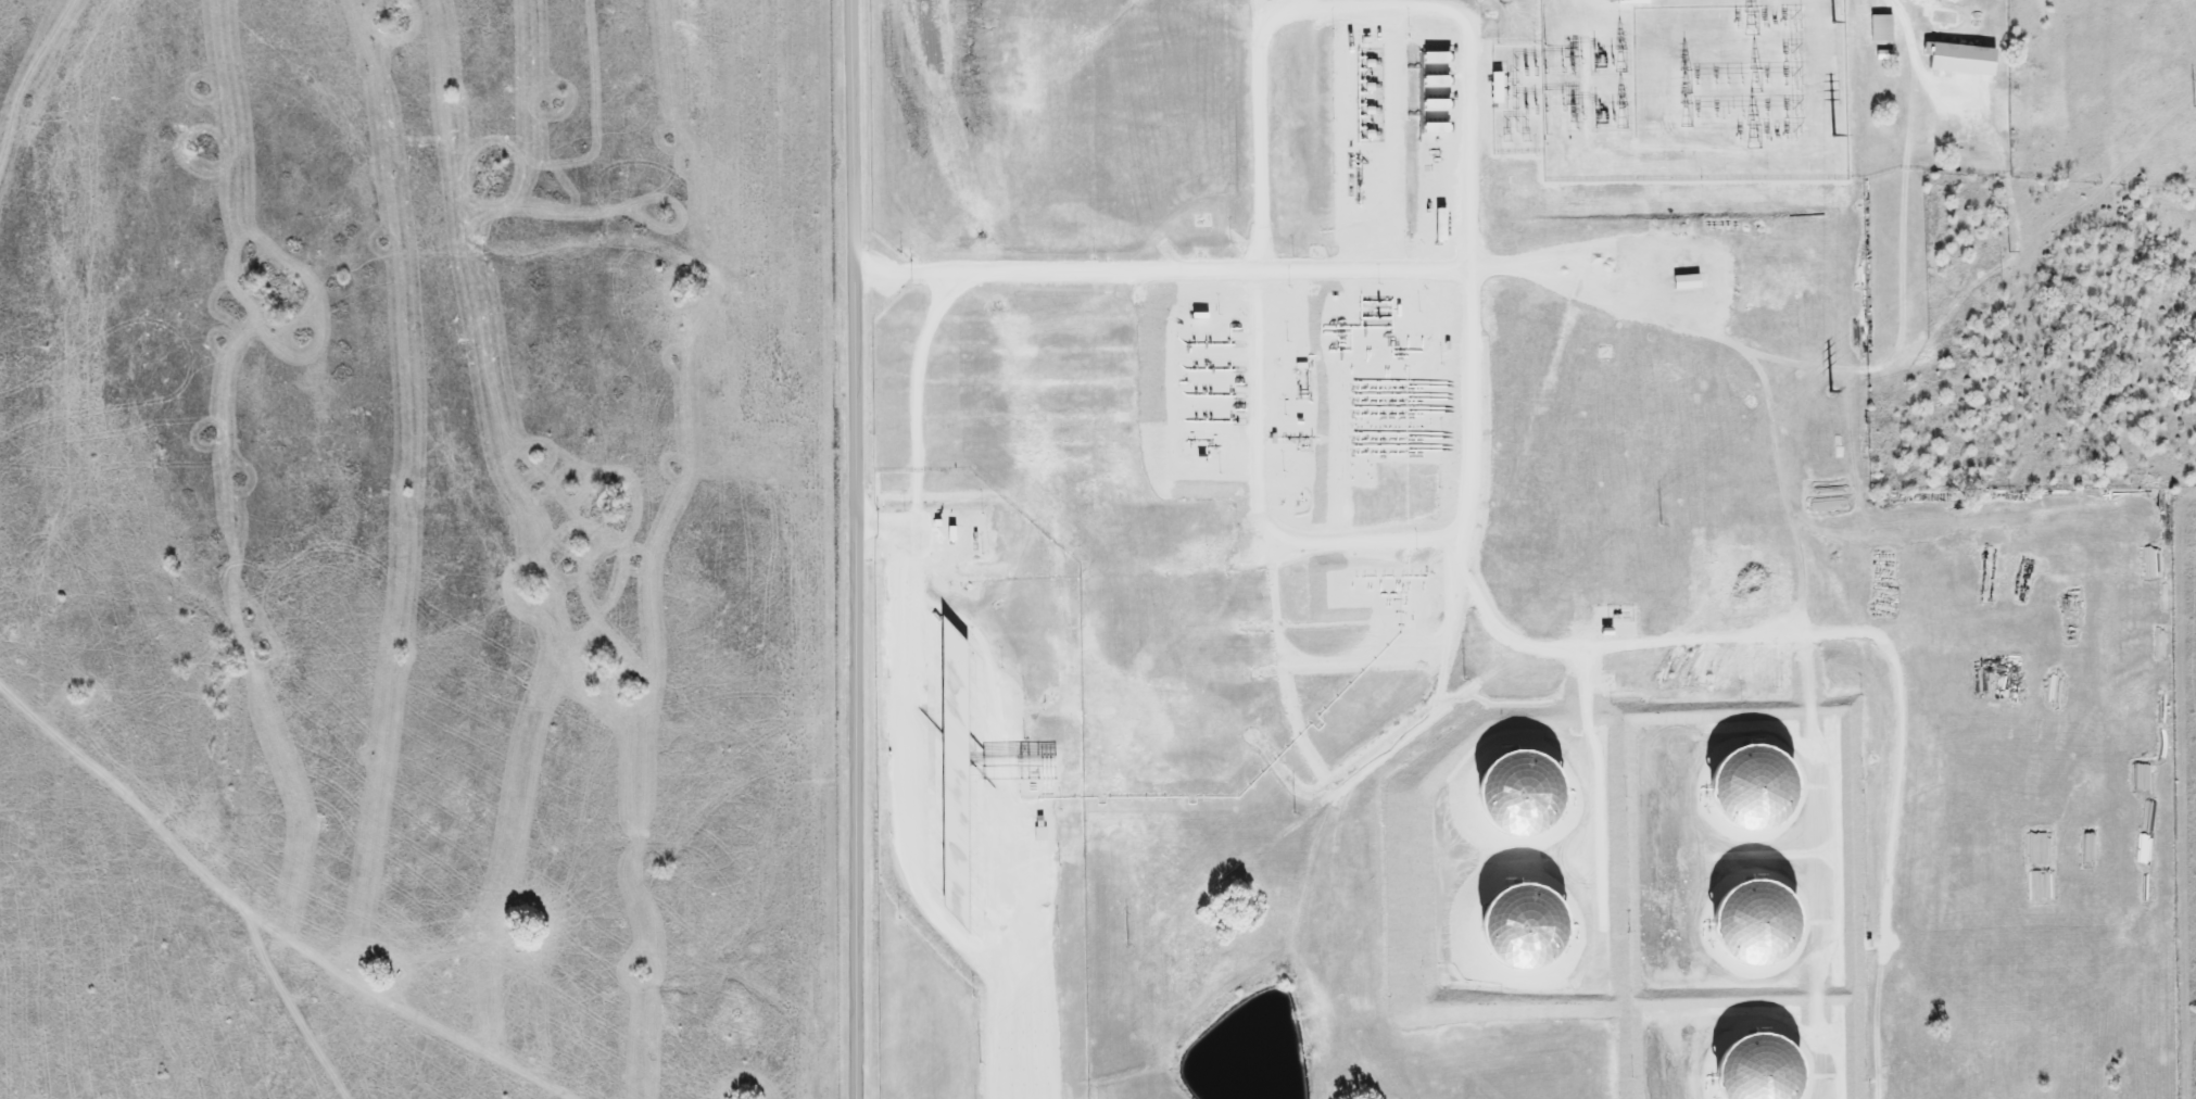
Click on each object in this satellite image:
building: (1635, 1)
power tower: (1831, 22)
building: (1883, 27)
building: (1962, 59)
building: (1499, 87)
power substation: (1675, 90)
building: (1438, 94)
power tower: (1831, 135)
road: (862, 548)
building: (1751, 788)
silo: (1751, 788)
building: (1519, 796)
silo: (1519, 796)
building: (1753, 921)
silo: (1753, 921)
building: (1525, 924)
silo: (1525, 924)
building: (1758, 1071)
silo: (1758, 1071)

